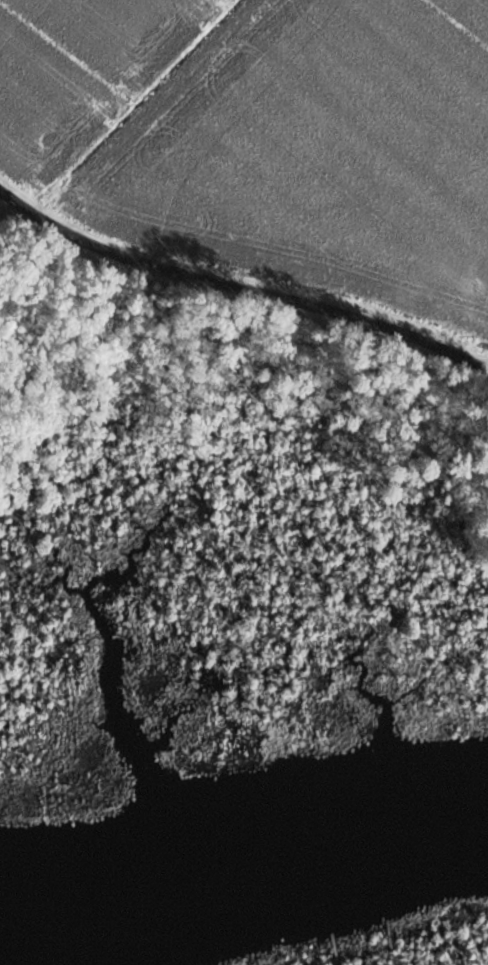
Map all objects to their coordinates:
road: (232, 312)

